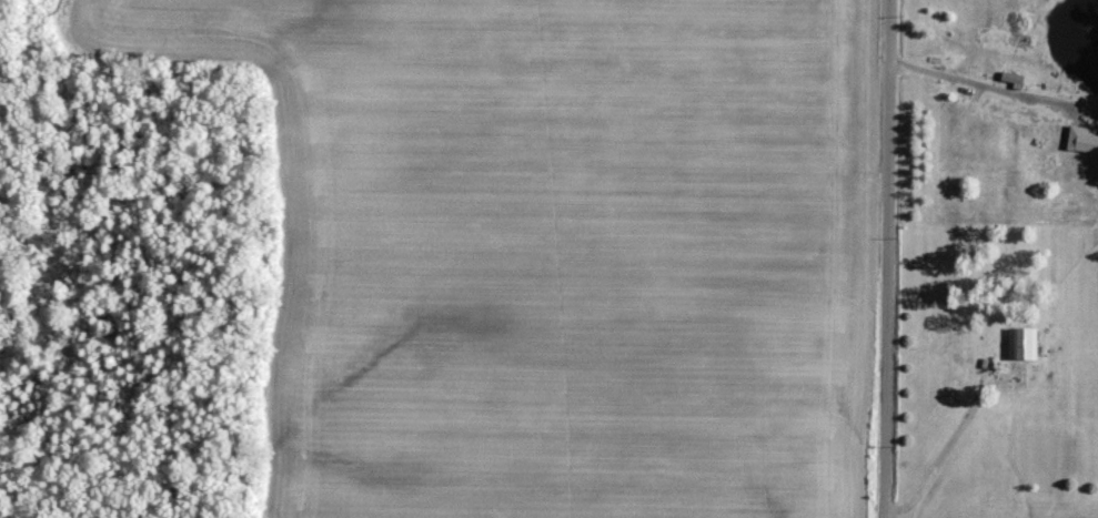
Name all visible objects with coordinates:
building: (1084, 139)
road: (886, 258)
building: (1026, 342)

